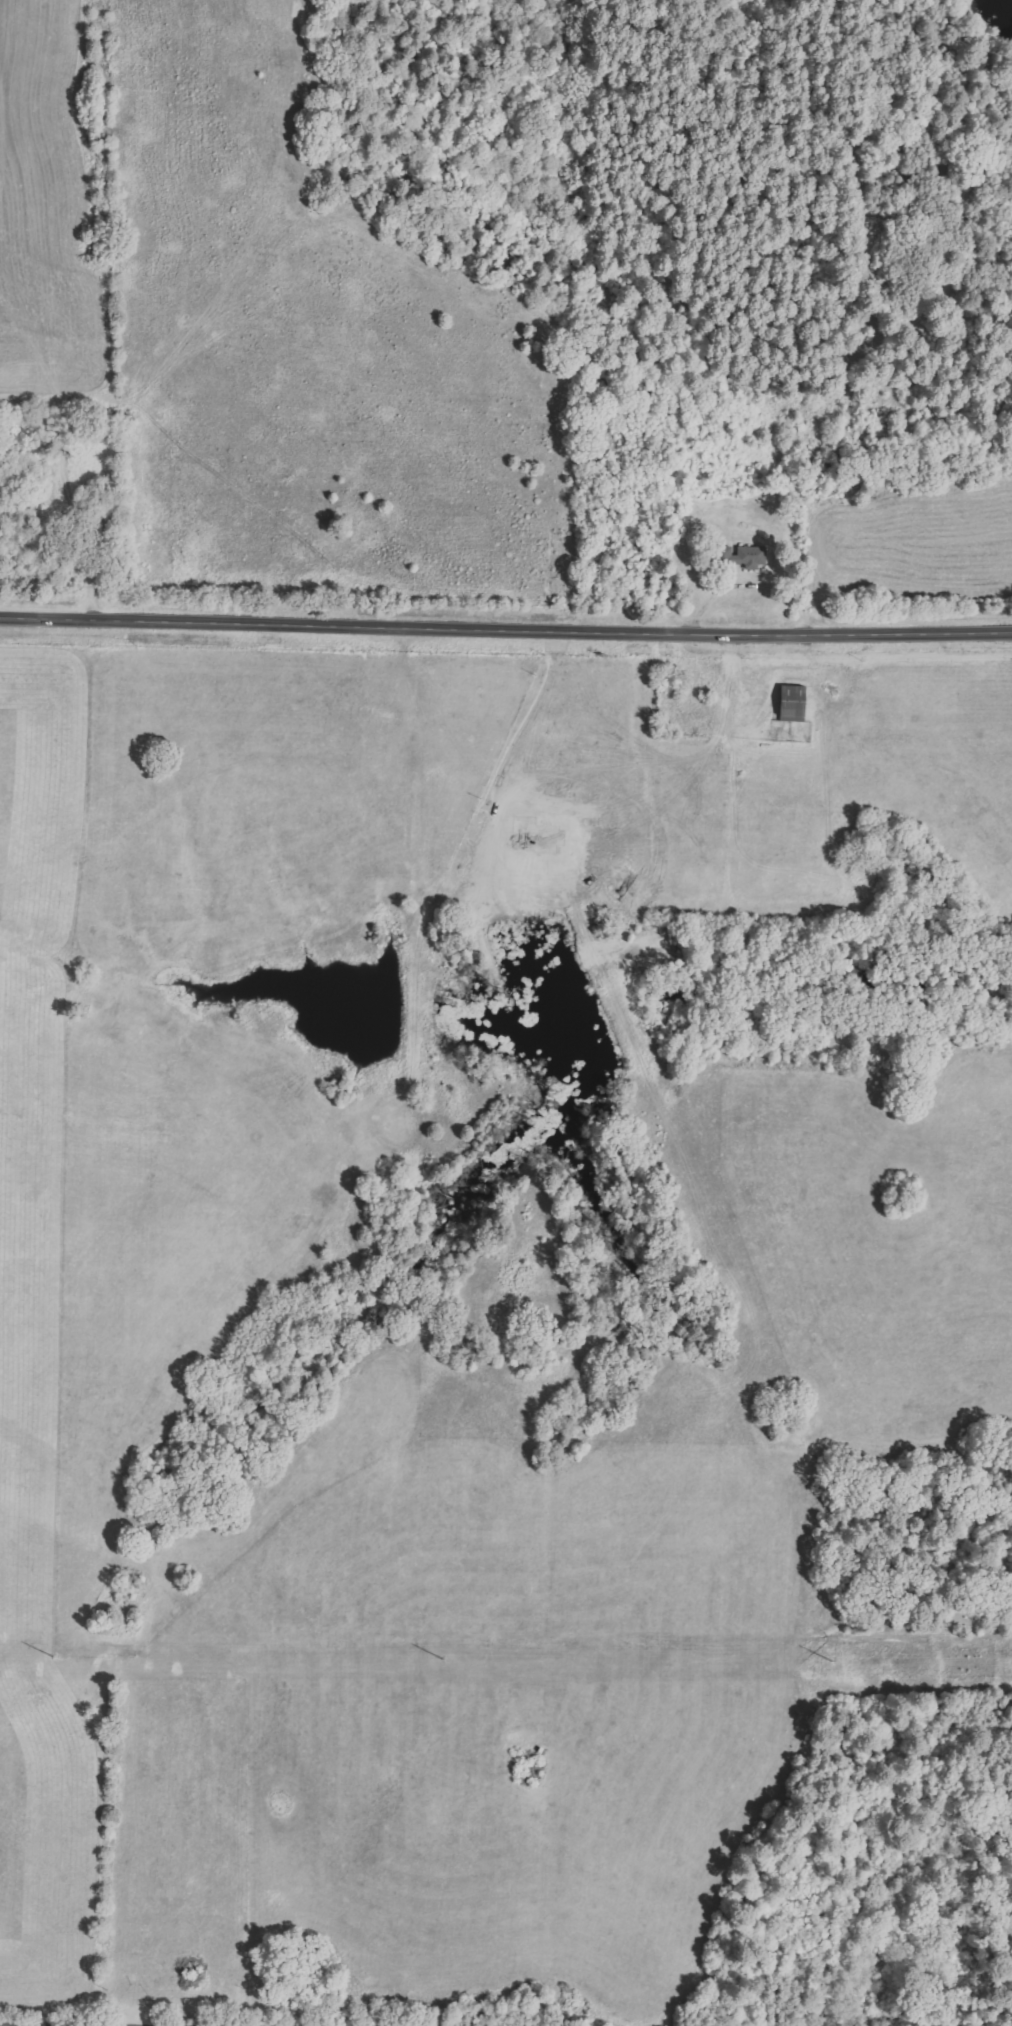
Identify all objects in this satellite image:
building: (748, 557)
road: (506, 619)
building: (788, 704)
power tower: (50, 1657)
power tower: (440, 1658)
power tower: (833, 1663)
road: (3, 2025)

